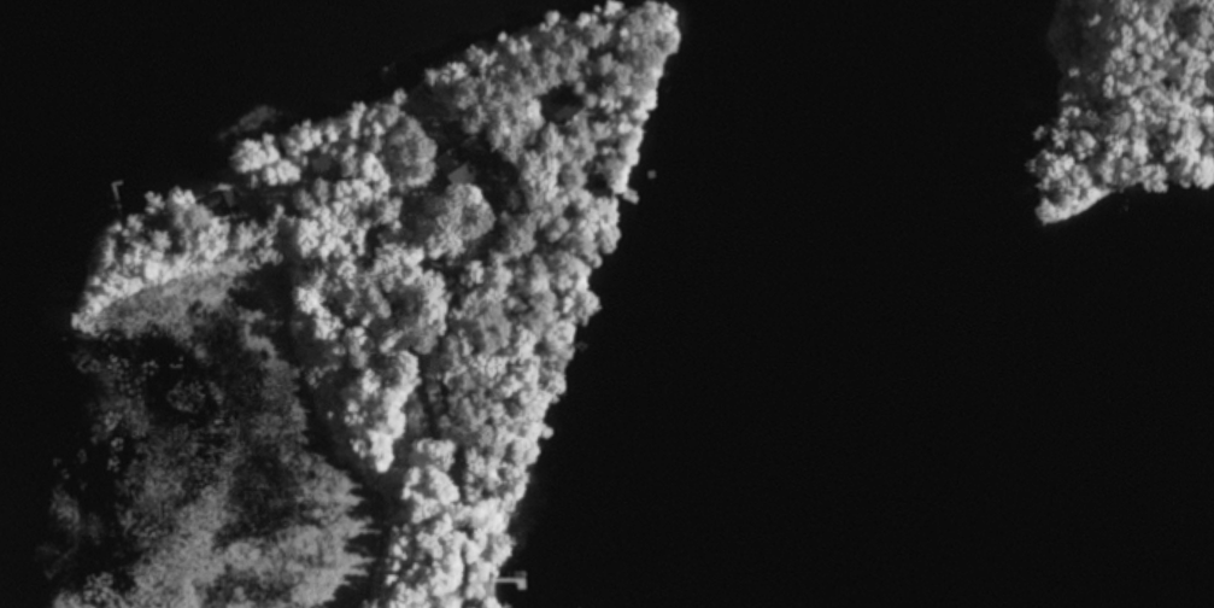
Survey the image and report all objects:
building: (588, 106)
road: (470, 527)

